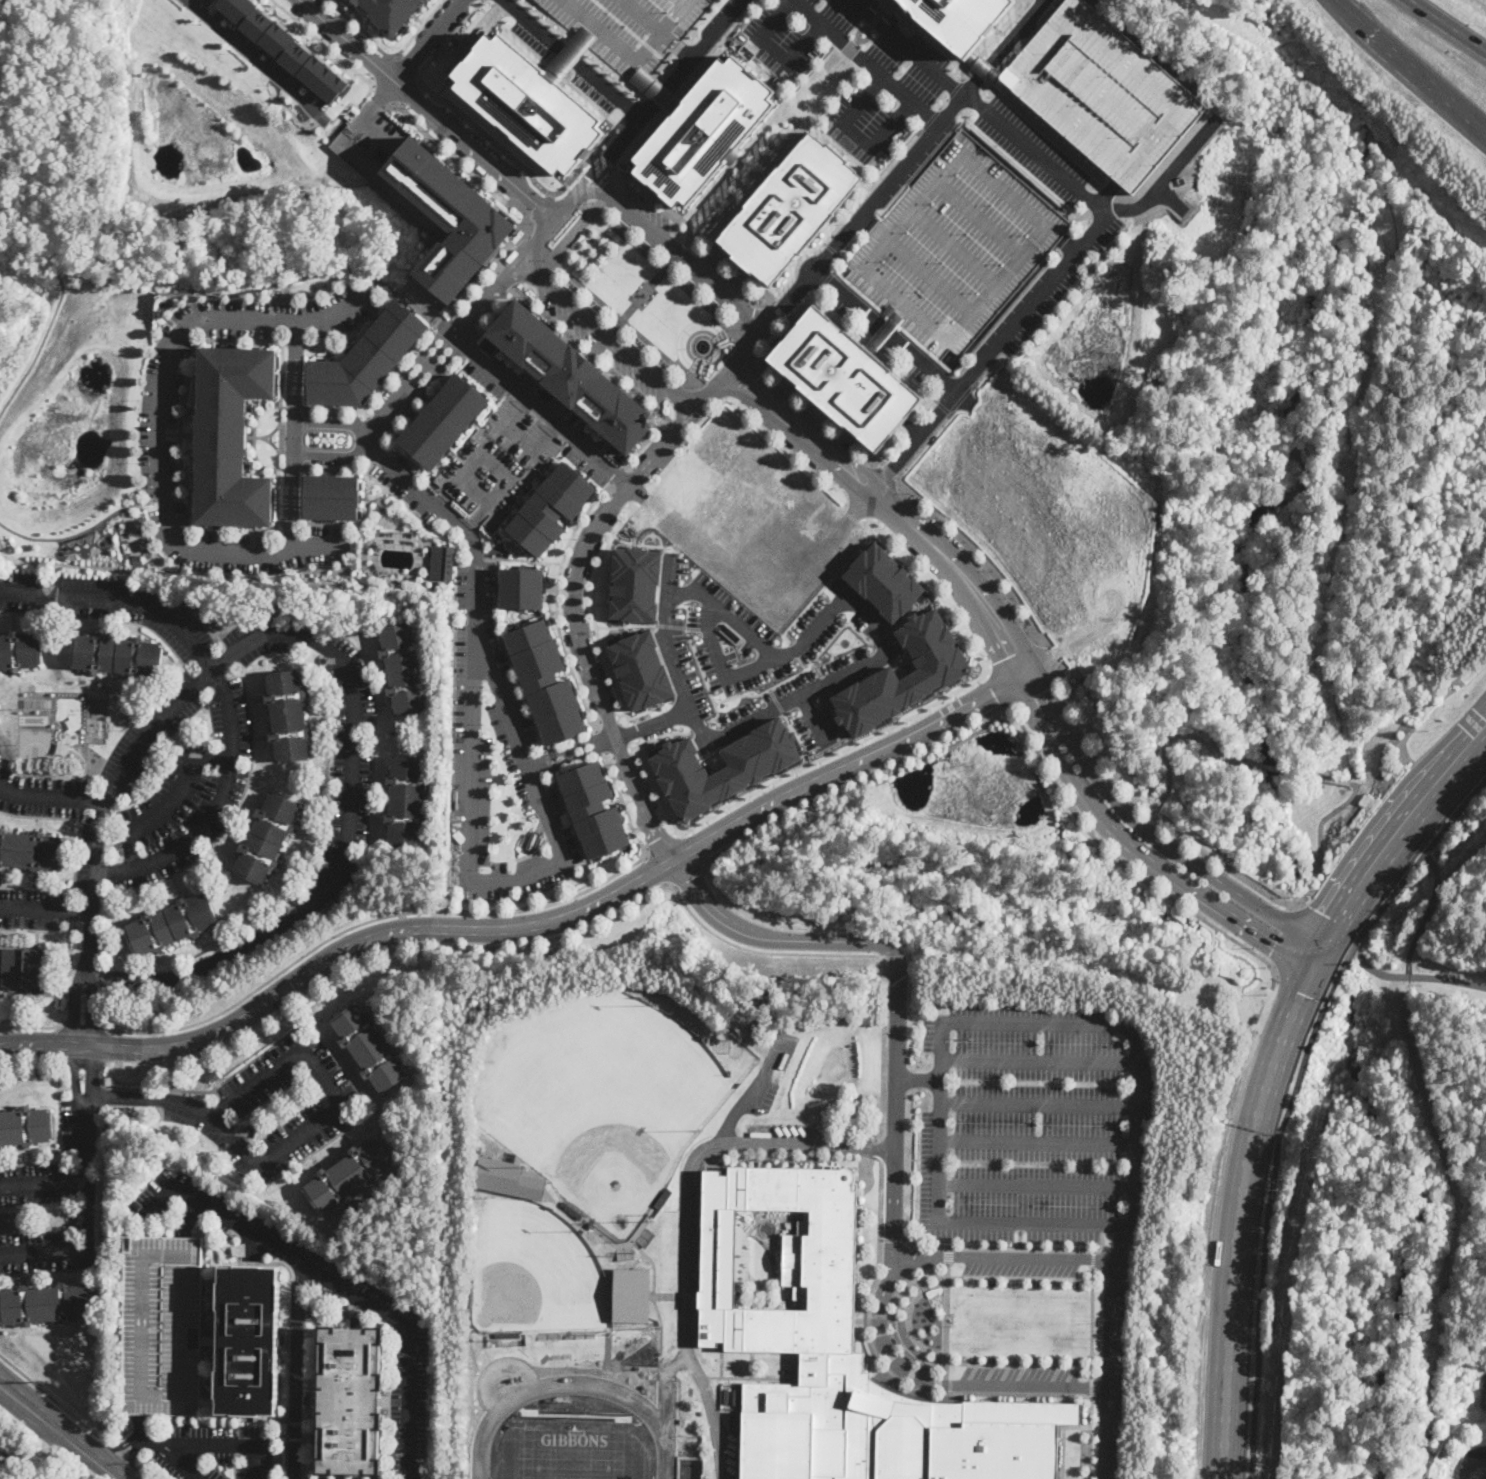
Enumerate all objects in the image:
road: (1334, 2)
road: (197, 3)
road: (808, 12)
building: (390, 13)
building: (959, 19)
road: (532, 24)
road: (1449, 24)
road: (419, 27)
road: (362, 29)
building: (630, 29)
parking garage: (630, 29)
road: (449, 36)
road: (424, 39)
road: (323, 42)
road: (707, 43)
road: (915, 45)
road: (1003, 45)
building: (285, 47)
road: (685, 53)
road: (569, 56)
road: (257, 60)
road: (763, 62)
road: (864, 62)
road: (407, 64)
road: (1410, 70)
road: (907, 71)
road: (880, 74)
parking lot: (891, 83)
building: (1100, 88)
parking garage: (1100, 88)
building: (656, 90)
road: (611, 92)
road: (384, 95)
road: (664, 97)
building: (528, 103)
road: (427, 109)
road: (929, 118)
road: (813, 119)
road: (635, 131)
building: (703, 131)
road: (855, 136)
road: (445, 149)
road: (510, 156)
road: (1013, 168)
road: (591, 172)
road: (606, 175)
parking lot: (1081, 199)
road: (873, 201)
building: (790, 208)
road: (541, 209)
parking lot: (648, 209)
building: (450, 217)
road: (846, 217)
road: (531, 221)
road: (868, 222)
road: (1094, 231)
road: (572, 233)
road: (536, 240)
road: (1070, 244)
building: (956, 247)
parking lot: (956, 247)
road: (831, 249)
road: (514, 261)
parking lot: (721, 274)
road: (482, 276)
road: (520, 277)
road: (745, 280)
road: (646, 296)
road: (637, 298)
park: (650, 299)
road: (274, 300)
road: (163, 308)
road: (758, 312)
road: (498, 315)
parking lot: (565, 318)
road: (465, 325)
road: (272, 326)
road: (182, 330)
road: (767, 330)
road: (348, 331)
road: (885, 331)
road: (723, 333)
road: (476, 334)
road: (881, 334)
road: (705, 336)
road: (195, 339)
road: (348, 341)
road: (297, 342)
road: (41, 348)
road: (329, 349)
parking lot: (174, 350)
road: (764, 350)
road: (1018, 351)
road: (593, 353)
road: (882, 354)
building: (366, 359)
road: (432, 362)
road: (760, 366)
road: (695, 368)
road: (282, 374)
road: (574, 374)
building: (572, 375)
parking lot: (635, 377)
building: (844, 377)
road: (189, 380)
road: (743, 383)
road: (549, 391)
road: (378, 392)
road: (293, 407)
road: (542, 410)
road: (680, 412)
road: (365, 414)
road: (693, 416)
road: (306, 419)
building: (443, 421)
road: (159, 422)
road: (377, 424)
road: (407, 425)
road: (346, 430)
road: (273, 431)
road: (293, 433)
building: (232, 436)
road: (390, 436)
road: (255, 437)
road: (256, 437)
road: (280, 437)
road: (518, 437)
road: (364, 441)
road: (644, 442)
road: (272, 443)
road: (912, 445)
road: (305, 452)
road: (1358, 453)
road: (381, 455)
road: (495, 461)
road: (305, 464)
road: (371, 467)
road: (294, 468)
road: (888, 470)
road: (615, 475)
road: (609, 490)
road: (379, 495)
building: (331, 496)
road: (395, 496)
road: (618, 498)
parking lot: (163, 499)
road: (148, 500)
road: (901, 503)
road: (381, 505)
road: (137, 506)
road: (629, 506)
building: (550, 508)
road: (394, 514)
road: (885, 515)
road: (277, 517)
road: (353, 524)
road: (65, 537)
road: (421, 546)
road: (135, 552)
building: (136, 559)
road: (523, 559)
road: (424, 560)
road: (366, 561)
building: (442, 562)
road: (461, 563)
road: (482, 567)
road: (382, 569)
road: (421, 574)
building: (883, 581)
building: (635, 584)
road: (825, 584)
road: (934, 586)
building: (521, 588)
road: (562, 589)
road: (574, 589)
road: (588, 590)
road: (558, 602)
building: (194, 604)
road: (593, 610)
building: (206, 617)
road: (496, 617)
road: (625, 625)
road: (671, 625)
road: (476, 634)
road: (580, 639)
road: (761, 647)
building: (20, 652)
building: (117, 655)
road: (720, 664)
road: (701, 666)
road: (806, 668)
building: (404, 669)
building: (641, 670)
building: (942, 671)
building: (545, 681)
road: (222, 689)
road: (1033, 690)
building: (133, 708)
road: (621, 714)
road: (1081, 714)
building: (288, 716)
road: (608, 717)
road: (812, 717)
road: (756, 718)
road: (597, 721)
road: (653, 723)
road: (1022, 725)
road: (701, 726)
road: (633, 730)
parking lot: (513, 732)
road: (539, 735)
road: (660, 735)
road: (600, 742)
park: (35, 743)
park: (69, 744)
road: (569, 748)
road: (621, 751)
road: (836, 751)
road: (569, 754)
road: (1164, 754)
road: (610, 757)
road: (573, 758)
building: (754, 767)
road: (1278, 768)
road: (655, 786)
road: (52, 798)
building: (407, 801)
road: (172, 805)
road: (471, 807)
building: (594, 809)
road: (1453, 814)
road: (1327, 815)
road: (572, 823)
road: (1152, 834)
road: (350, 836)
road: (1400, 836)
road: (98, 837)
building: (266, 839)
road: (659, 841)
road: (1136, 850)
building: (31, 851)
road: (654, 869)
road: (689, 876)
road: (1291, 906)
road: (45, 910)
road: (419, 911)
road: (1428, 914)
traffic signals: (1337, 920)
road: (533, 923)
building: (171, 925)
road: (1284, 937)
road: (769, 938)
road: (734, 944)
traffic signals: (1274, 945)
building: (1453, 960)
road: (1364, 965)
road: (1272, 966)
building: (22, 970)
road: (1433, 978)
building: (772, 979)
building: (781, 983)
traffic signals: (1300, 991)
building: (741, 1016)
road: (82, 1025)
road: (33, 1026)
building: (369, 1048)
road: (1040, 1062)
road: (286, 1064)
building: (213, 1077)
road: (917, 1081)
park: (609, 1084)
road: (754, 1091)
road: (894, 1105)
road: (1039, 1106)
parking lot: (1033, 1122)
building: (26, 1127)
road: (224, 1131)
road: (1038, 1145)
road: (85, 1146)
road: (1277, 1147)
building: (349, 1176)
building: (507, 1177)
road: (43, 1182)
road: (1037, 1187)
building: (662, 1200)
road: (1239, 1205)
building: (571, 1211)
road: (187, 1215)
road: (685, 1217)
road: (1456, 1221)
road: (1126, 1225)
road: (1121, 1244)
road: (1009, 1248)
road: (45, 1250)
road: (1092, 1258)
road: (1116, 1259)
park: (538, 1265)
road: (337, 1281)
building: (631, 1295)
building: (467, 1298)
building: (696, 1299)
building: (44, 1304)
road: (1091, 1321)
building: (162, 1323)
parking garage: (162, 1323)
building: (507, 1336)
building: (809, 1338)
building: (248, 1341)
road: (296, 1369)
power tower: (41, 1380)
road: (943, 1384)
road: (1091, 1386)
road: (52, 1396)
building: (350, 1401)
road: (44, 1415)
road: (140, 1422)
building: (682, 1422)
track: (662, 1427)
road: (1090, 1438)
building: (1001, 1440)
road: (115, 1445)
road: (225, 1445)
road: (304, 1445)
road: (119, 1450)
park: (573, 1453)
road: (132, 1454)
road: (169, 1455)
road: (105, 1465)
road: (146, 1470)

